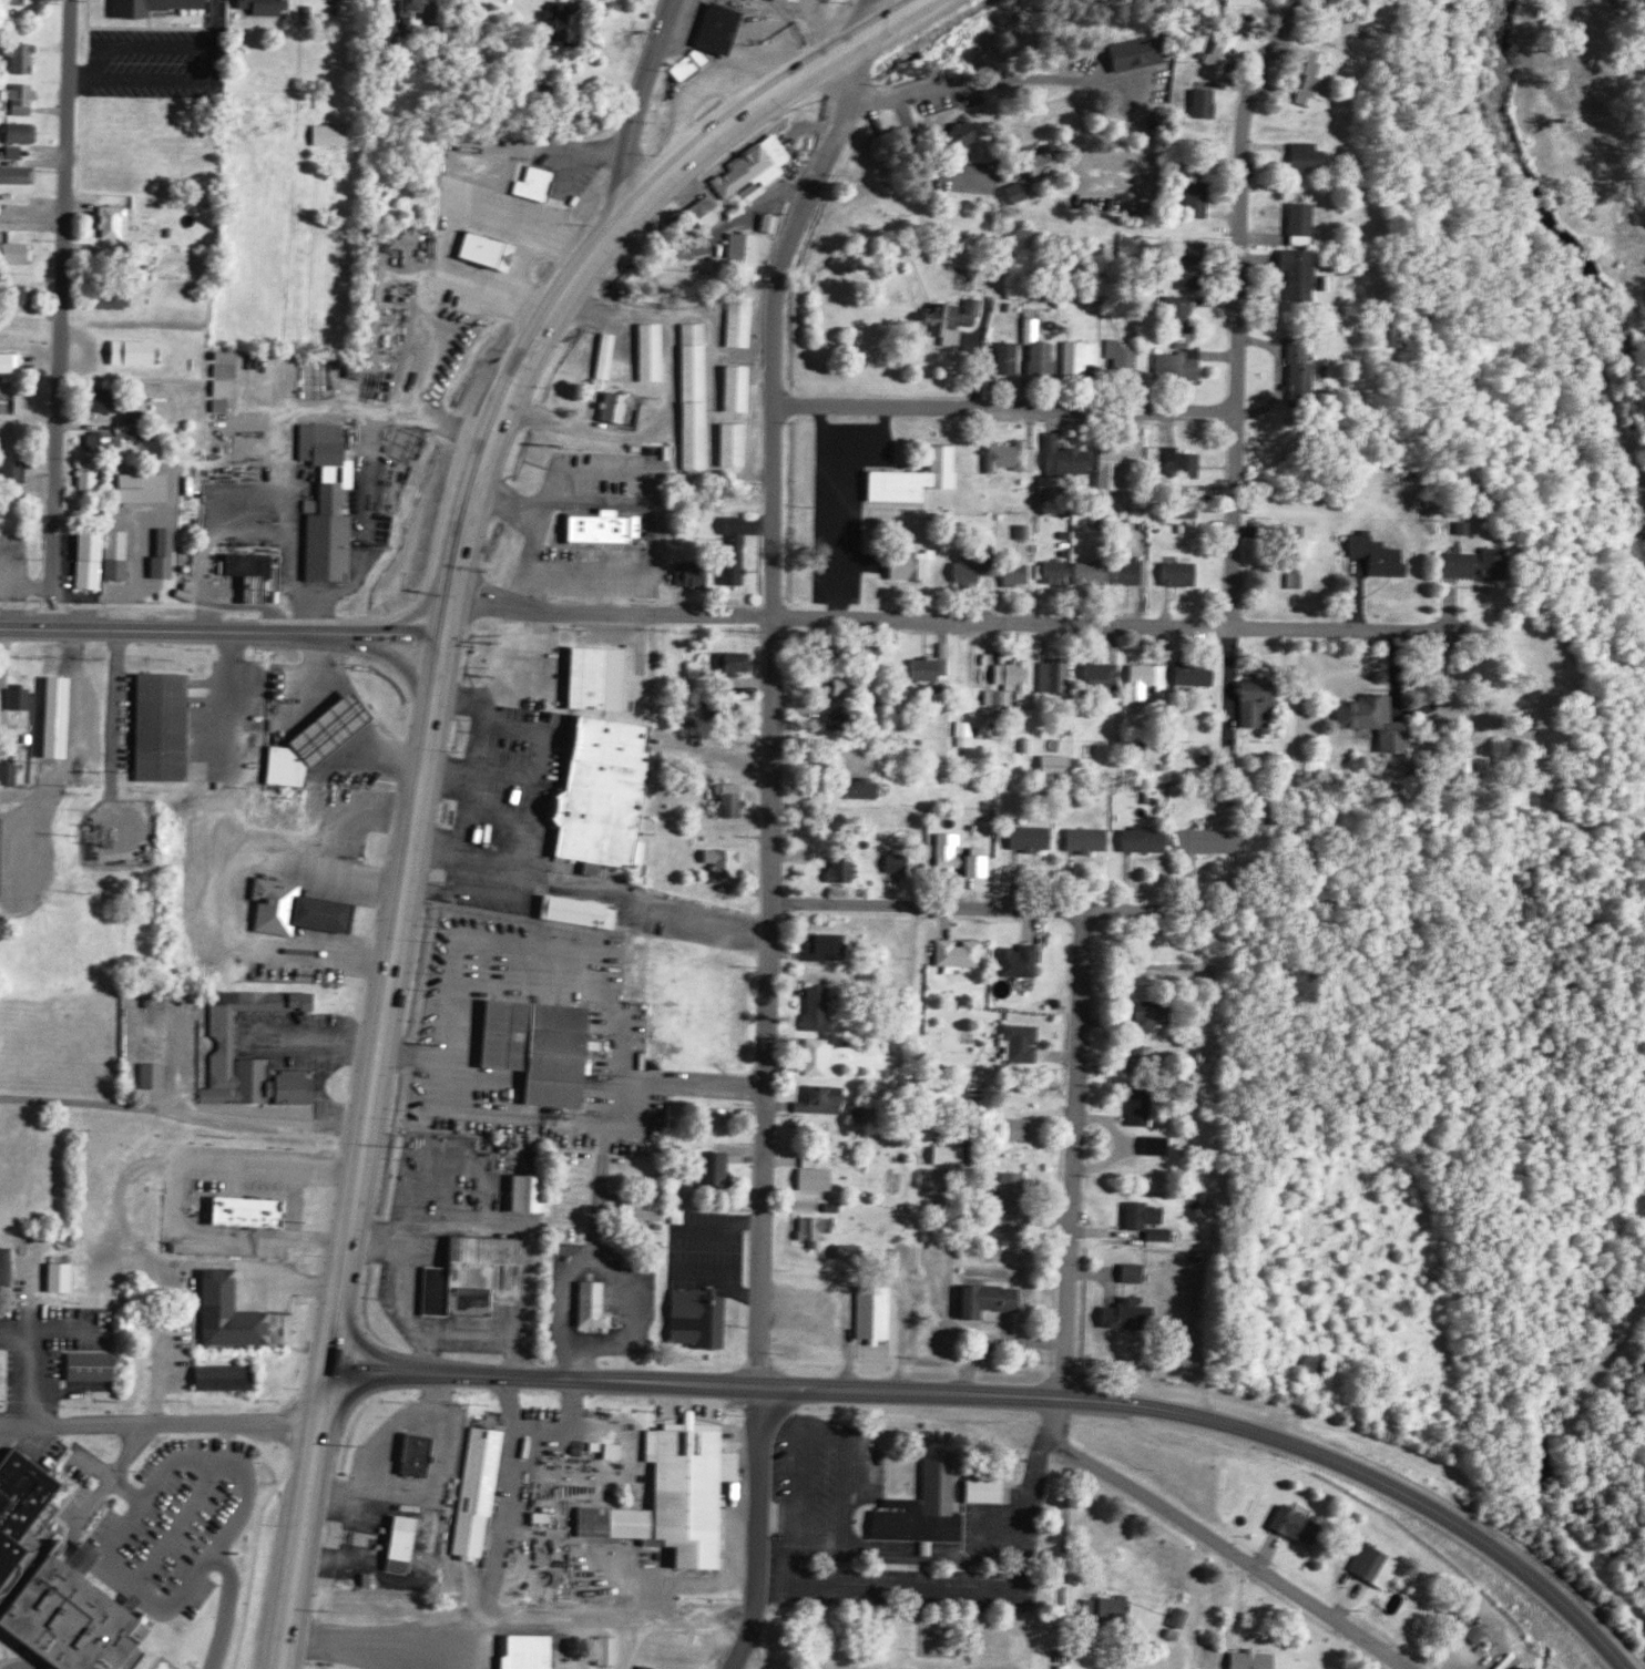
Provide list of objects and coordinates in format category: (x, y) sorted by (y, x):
building: (798, 0)
building: (267, 6)
building: (1240, 6)
building: (152, 7)
building: (408, 7)
building: (563, 21)
road: (875, 23)
building: (719, 28)
building: (1226, 48)
building: (1136, 53)
building: (24, 55)
road: (156, 59)
building: (692, 65)
road: (861, 70)
building: (1316, 79)
building: (24, 96)
road: (641, 103)
building: (1205, 103)
building: (23, 132)
building: (331, 134)
building: (963, 134)
building: (17, 152)
building: (1309, 156)
building: (1043, 163)
building: (756, 171)
road: (930, 172)
building: (18, 174)
building: (538, 183)
building: (1018, 192)
building: (1198, 198)
building: (709, 212)
building: (116, 219)
building: (775, 222)
building: (1301, 223)
road: (32, 229)
road: (612, 240)
building: (489, 250)
building: (753, 250)
building: (18, 253)
building: (116, 260)
building: (1189, 262)
building: (1299, 272)
building: (21, 294)
building: (673, 297)
building: (114, 298)
road: (1237, 307)
building: (1183, 313)
road: (59, 314)
building: (954, 319)
building: (743, 324)
building: (134, 351)
building: (654, 351)
building: (610, 355)
building: (1082, 356)
building: (1126, 357)
building: (1038, 358)
building: (1002, 359)
building: (1183, 362)
building: (11, 366)
building: (1301, 367)
building: (357, 369)
building: (225, 387)
building: (740, 388)
building: (698, 396)
building: (106, 400)
building: (16, 403)
building: (617, 407)
road: (1008, 409)
building: (127, 430)
building: (10, 439)
building: (109, 441)
building: (736, 444)
building: (1014, 457)
building: (1069, 458)
building: (1184, 463)
building: (1118, 467)
building: (17, 472)
building: (91, 475)
building: (917, 479)
building: (145, 487)
building: (329, 504)
road: (12, 511)
building: (1464, 528)
building: (1026, 531)
building: (736, 550)
building: (119, 554)
building: (165, 554)
building: (1379, 555)
building: (1306, 557)
building: (91, 560)
building: (249, 564)
building: (910, 565)
building: (1472, 565)
building: (969, 571)
building: (1135, 571)
building: (1018, 572)
building: (1092, 573)
building: (1182, 573)
building: (693, 575)
road: (614, 613)
traffic signals: (457, 615)
road: (1132, 623)
road: (229, 631)
building: (866, 654)
building: (736, 662)
building: (930, 669)
building: (1196, 674)
building: (1015, 675)
building: (1103, 675)
building: (1056, 676)
building: (597, 678)
building: (1148, 679)
building: (841, 685)
building: (23, 697)
building: (1002, 697)
building: (2, 700)
building: (1256, 704)
building: (58, 717)
building: (1375, 720)
road: (114, 723)
building: (163, 726)
road: (773, 734)
building: (968, 734)
building: (317, 740)
road: (45, 751)
building: (1057, 765)
building: (1233, 766)
building: (11, 774)
building: (865, 788)
building: (603, 795)
building: (732, 800)
building: (1031, 838)
building: (1089, 839)
building: (1144, 840)
building: (950, 851)
building: (725, 862)
building: (898, 862)
building: (977, 866)
building: (842, 870)
building: (296, 909)
road: (981, 909)
building: (581, 912)
building: (829, 948)
building: (960, 953)
building: (1021, 961)
road: (391, 993)
building: (820, 1007)
building: (1151, 1015)
building: (225, 1031)
building: (1024, 1043)
building: (810, 1056)
building: (156, 1075)
building: (825, 1099)
building: (860, 1109)
building: (722, 1118)
building: (1018, 1128)
building: (1157, 1145)
building: (949, 1155)
building: (716, 1165)
building: (816, 1175)
road: (1071, 1176)
building: (528, 1194)
building: (1014, 1202)
building: (247, 1210)
building: (642, 1214)
building: (1144, 1215)
building: (816, 1230)
building: (1162, 1233)
building: (851, 1251)
building: (6, 1266)
building: (1133, 1271)
building: (476, 1274)
building: (63, 1277)
building: (988, 1299)
building: (593, 1304)
building: (231, 1312)
building: (875, 1312)
building: (1124, 1312)
building: (698, 1317)
road: (54, 1331)
road: (37, 1343)
road: (999, 1347)
building: (92, 1365)
building: (225, 1376)
road: (1011, 1396)
road: (160, 1423)
building: (615, 1450)
building: (416, 1453)
road: (112, 1476)
road: (126, 1489)
building: (985, 1489)
building: (480, 1492)
building: (677, 1495)
building: (17, 1499)
building: (923, 1505)
road: (304, 1520)
road: (177, 1523)
building: (1295, 1523)
road: (120, 1529)
road: (756, 1530)
building: (400, 1542)
road: (1227, 1553)
building: (1370, 1560)
road: (840, 1594)
road: (225, 1607)
building: (1181, 1616)
building: (1474, 1631)
building: (609, 1649)
building: (528, 1651)
building: (1253, 1659)

